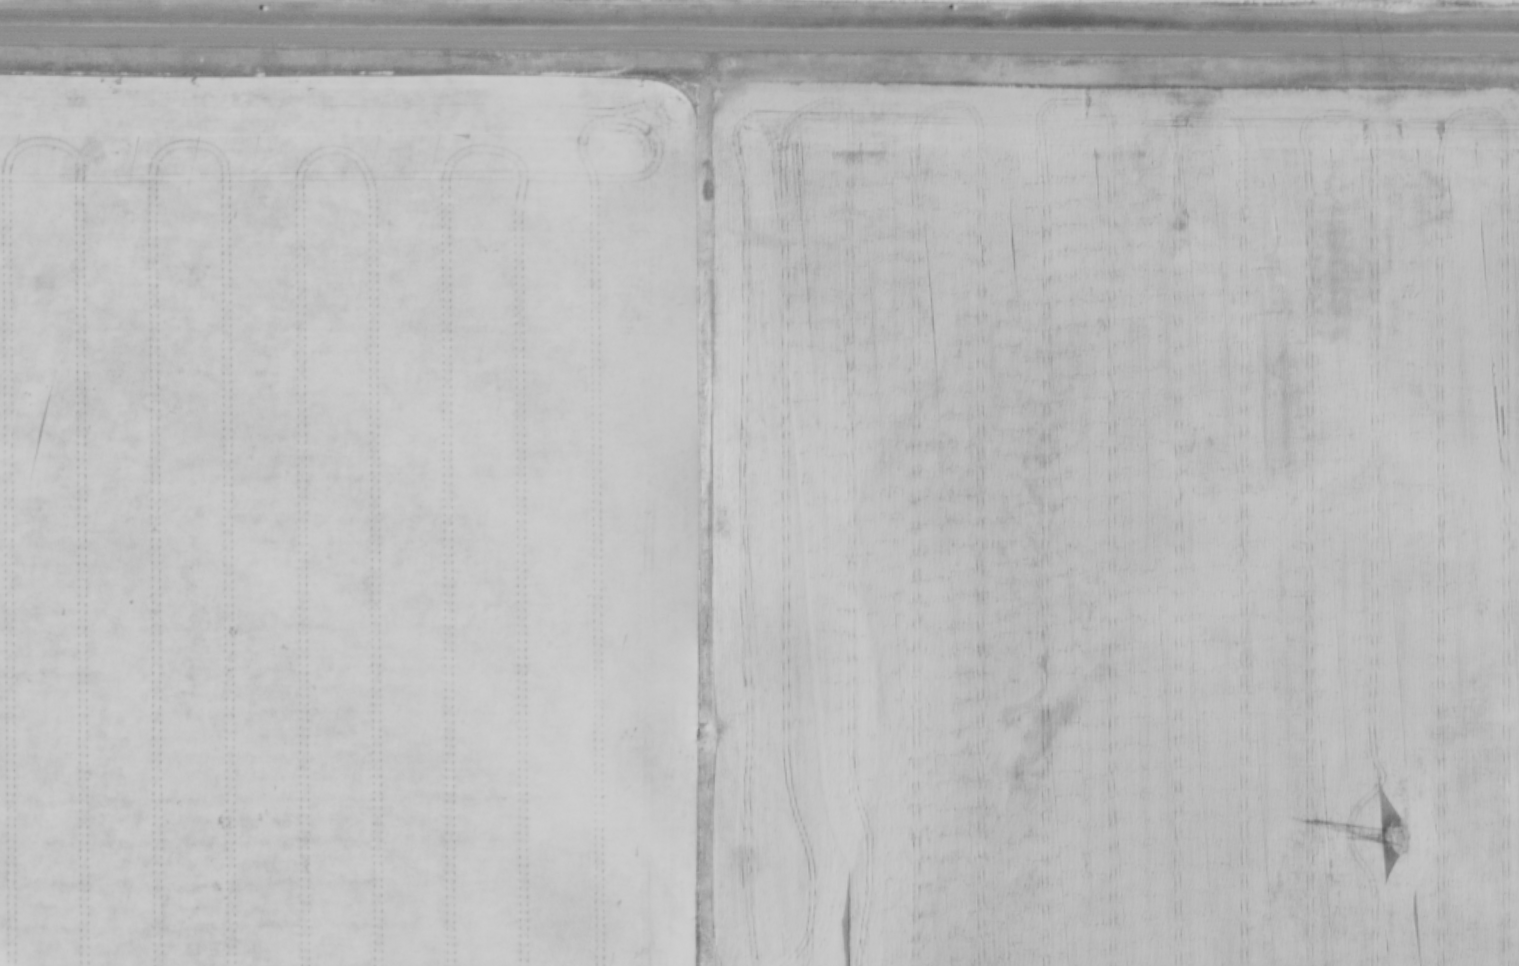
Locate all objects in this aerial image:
road: (759, 36)
crop: (1116, 523)
power tower: (1389, 837)

